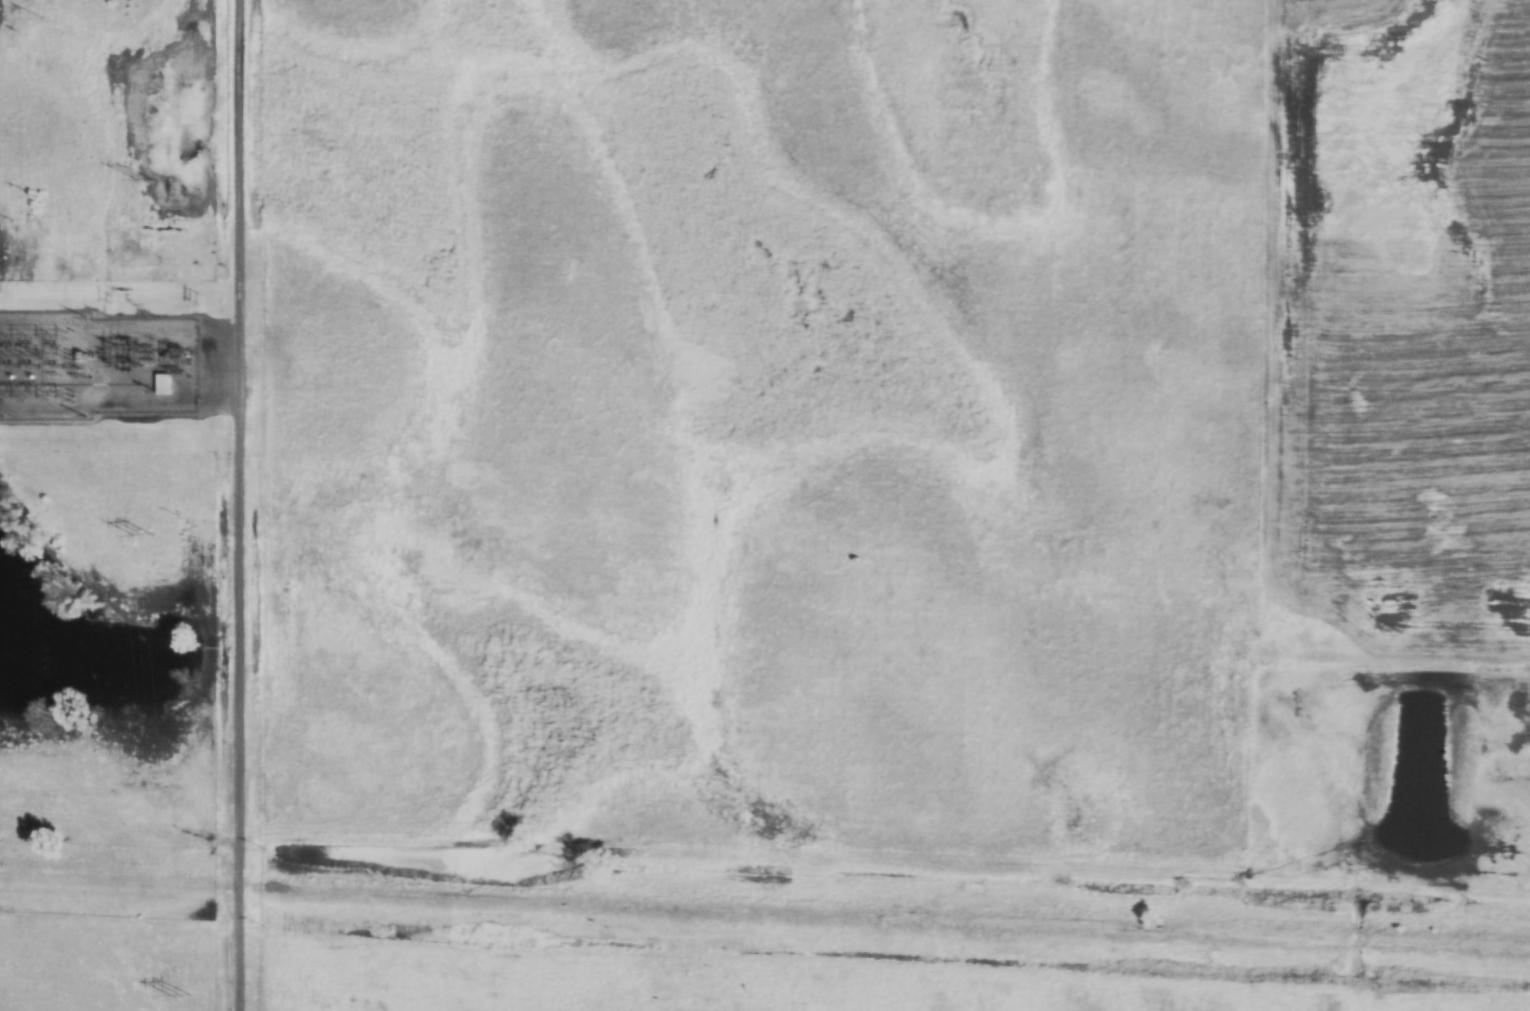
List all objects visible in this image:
power tower: (145, 181)
power substation: (95, 366)
building: (163, 383)
road: (245, 505)
power tower: (143, 534)
power tower: (180, 995)

